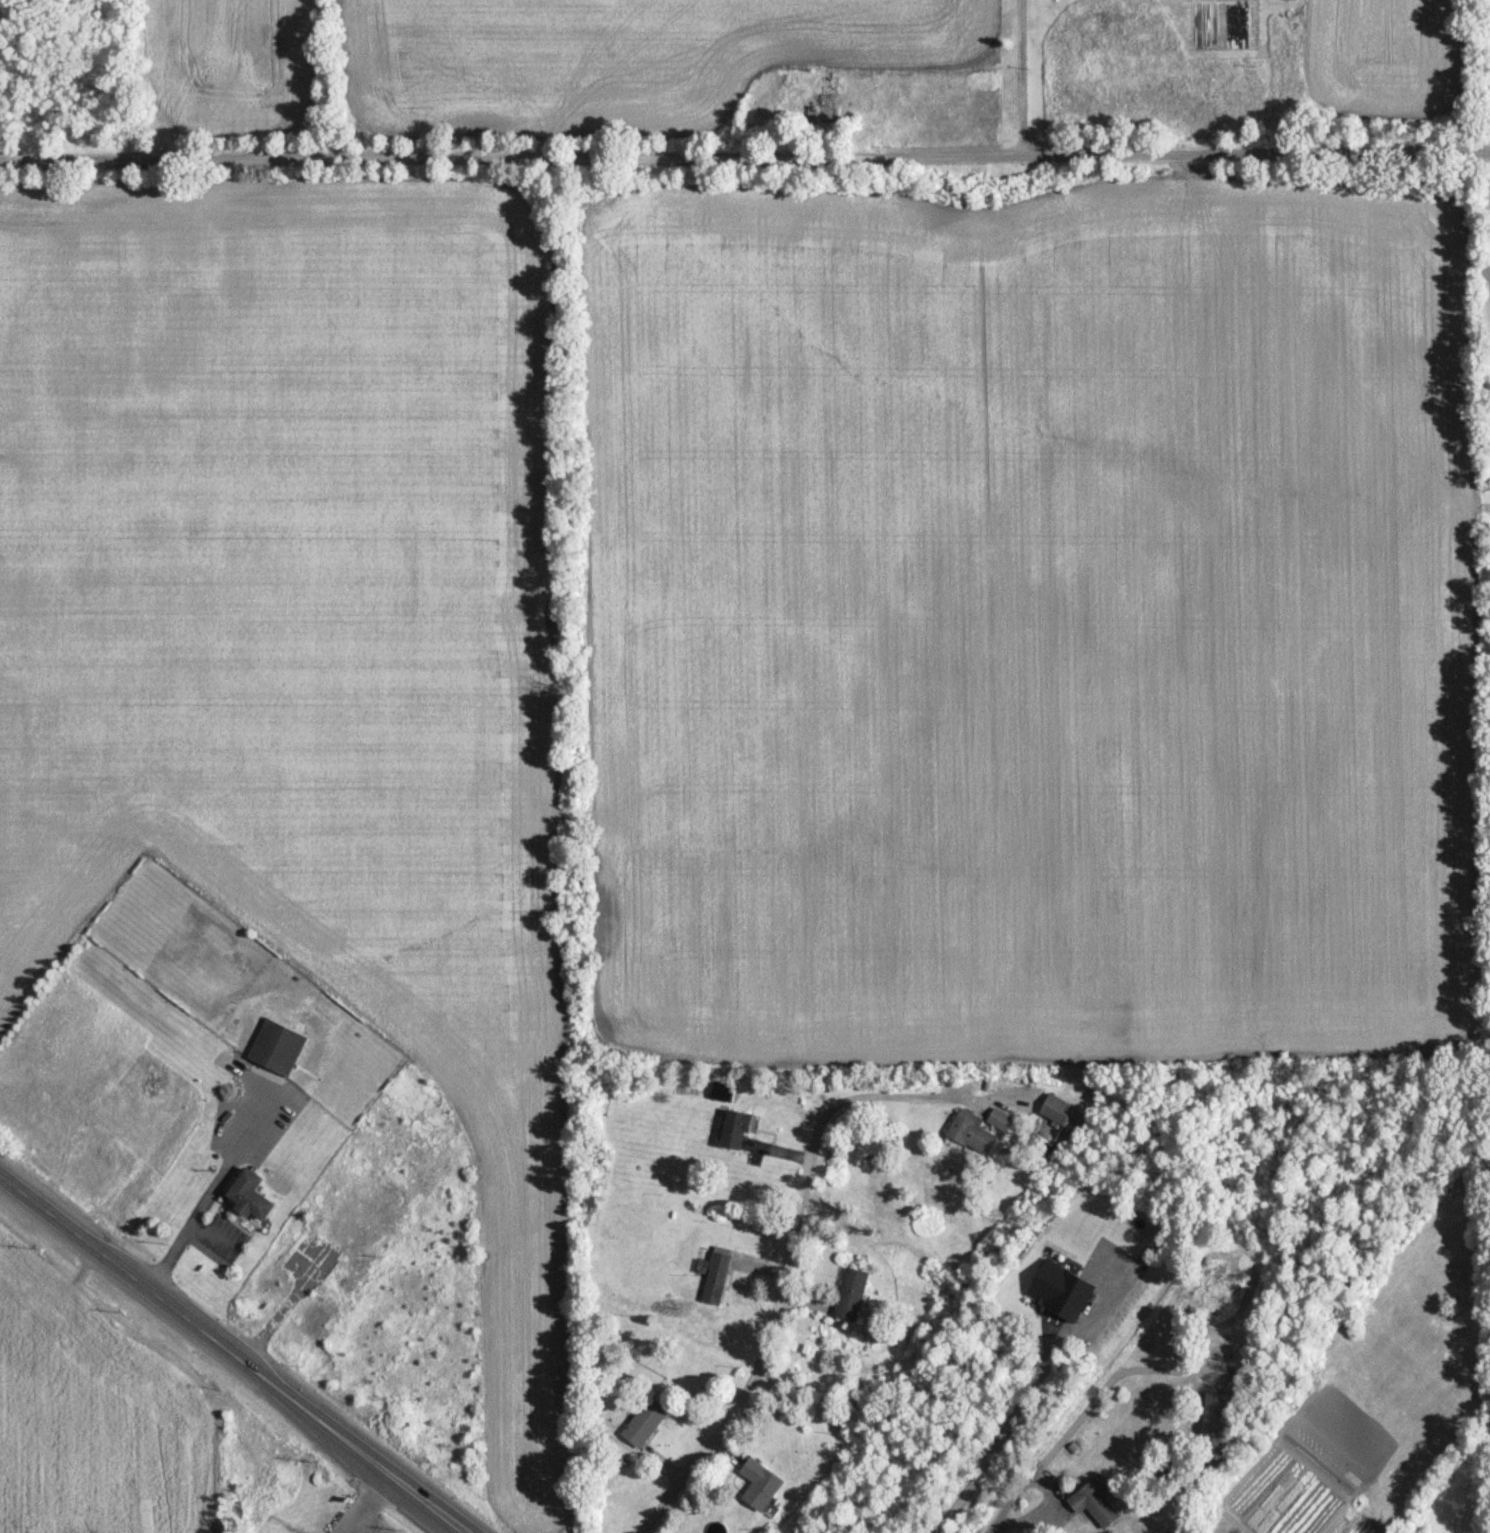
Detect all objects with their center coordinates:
road: (1022, 78)
building: (824, 105)
road: (745, 157)
building: (107, 935)
building: (278, 1047)
road: (919, 1095)
building: (1057, 1109)
building: (736, 1129)
building: (971, 1130)
building: (250, 1195)
building: (330, 1199)
building: (370, 1200)
road: (200, 1201)
building: (350, 1275)
building: (716, 1275)
building: (851, 1293)
road: (766, 1345)
road: (232, 1351)
building: (645, 1421)
road: (1087, 1421)
road: (991, 1443)
building: (760, 1484)
building: (1095, 1501)
road: (373, 1505)
road: (376, 1524)

